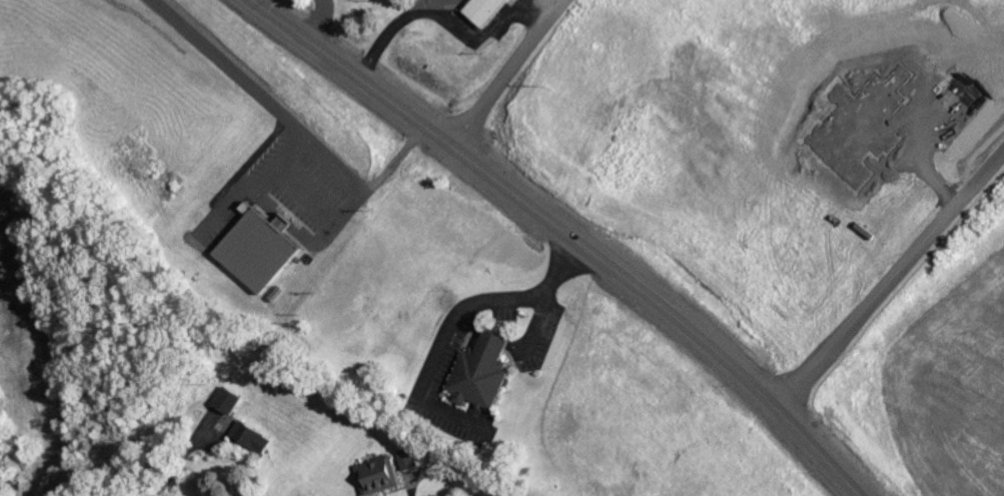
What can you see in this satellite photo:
building: (484, 9)
road: (506, 73)
road: (572, 232)
building: (260, 247)
road: (890, 278)
park: (294, 347)
building: (482, 370)
building: (229, 399)
building: (253, 436)
building: (408, 457)
building: (377, 474)

